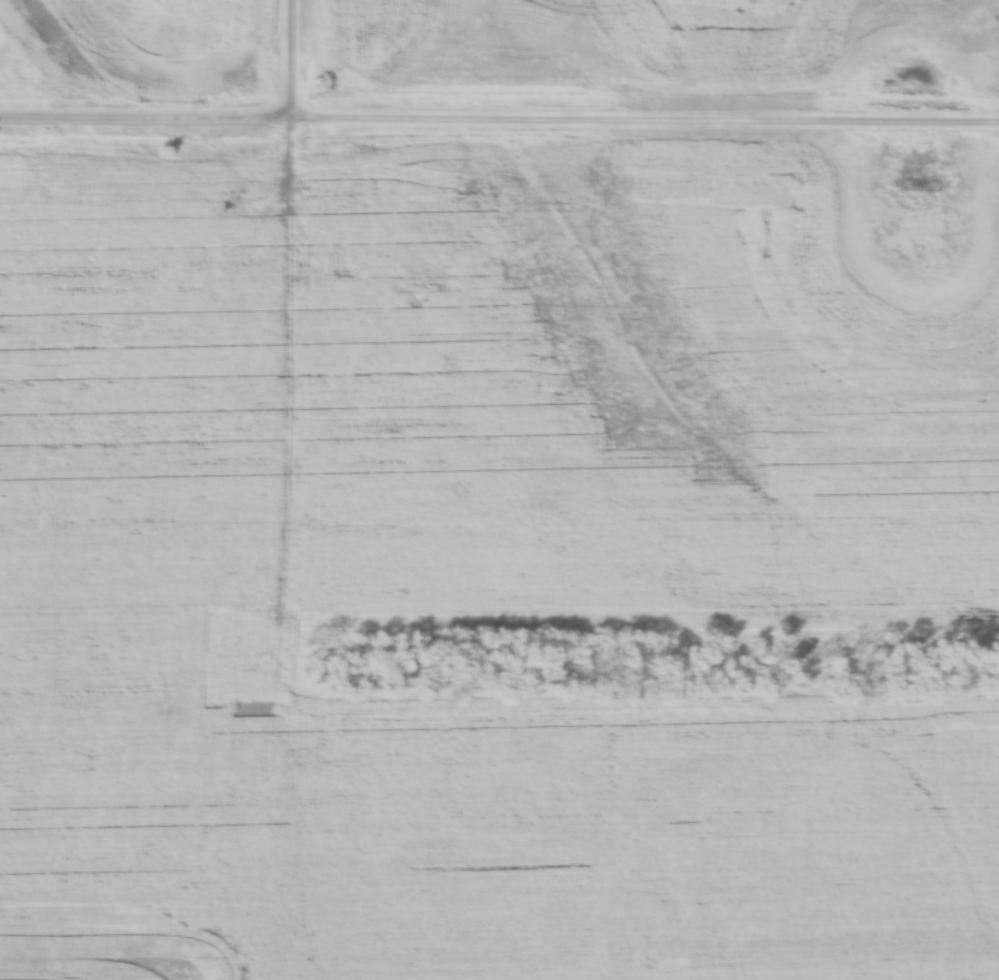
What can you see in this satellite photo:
road: (499, 113)
road: (289, 343)

